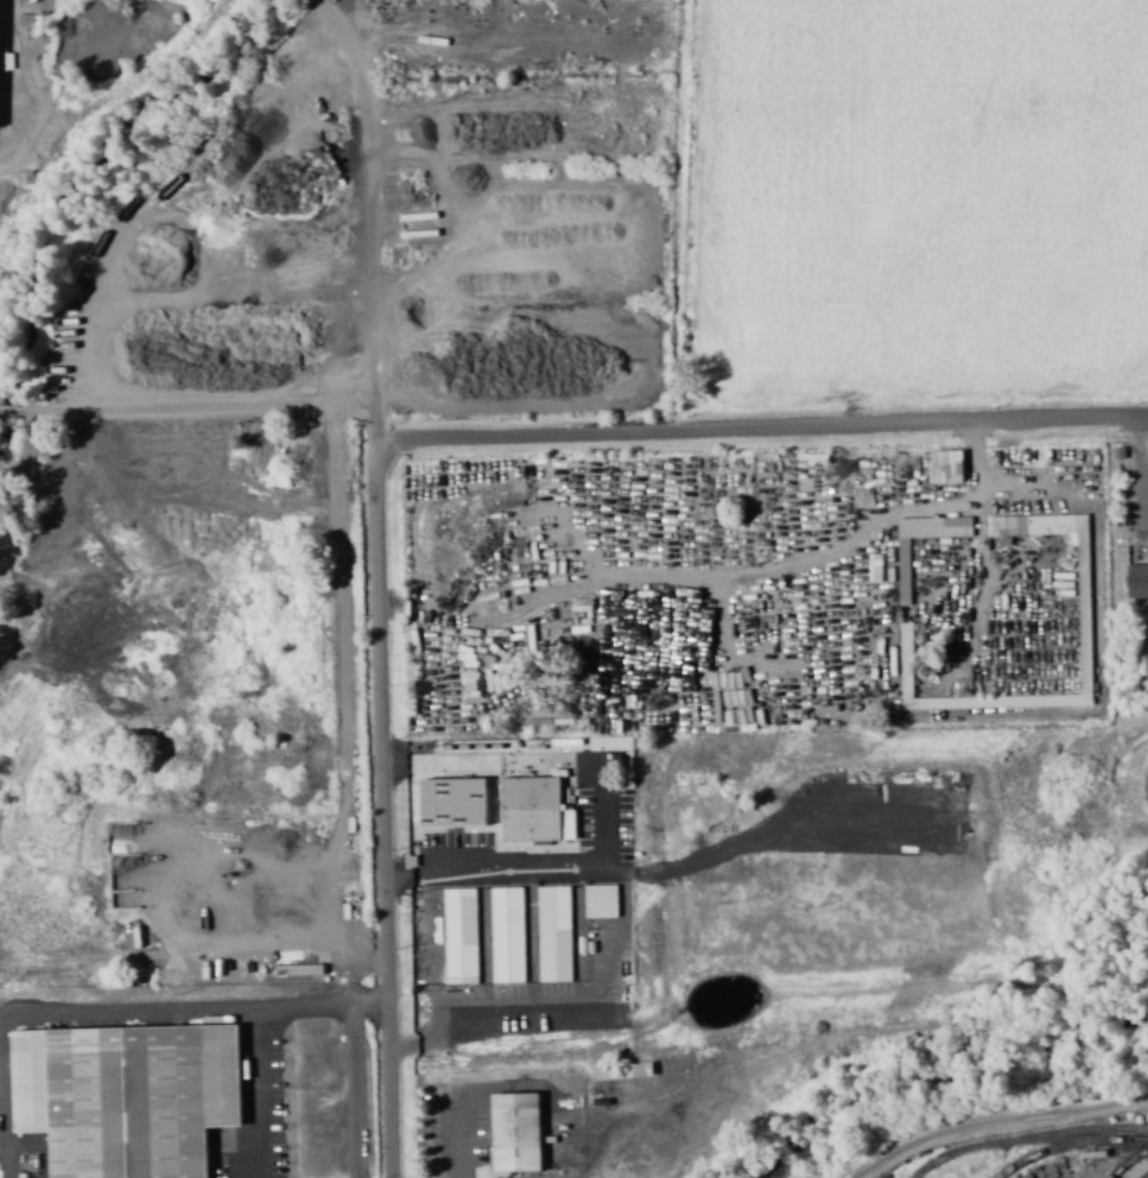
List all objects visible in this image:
building: (0, 14)
road: (189, 401)
road: (763, 430)
building: (944, 465)
building: (902, 572)
building: (1136, 581)
road: (381, 583)
building: (1082, 584)
building: (566, 745)
building: (451, 803)
building: (529, 810)
building: (600, 902)
building: (553, 935)
building: (459, 936)
building: (506, 936)
building: (138, 1098)
road: (997, 1120)
building: (514, 1134)
railway: (1028, 1140)

